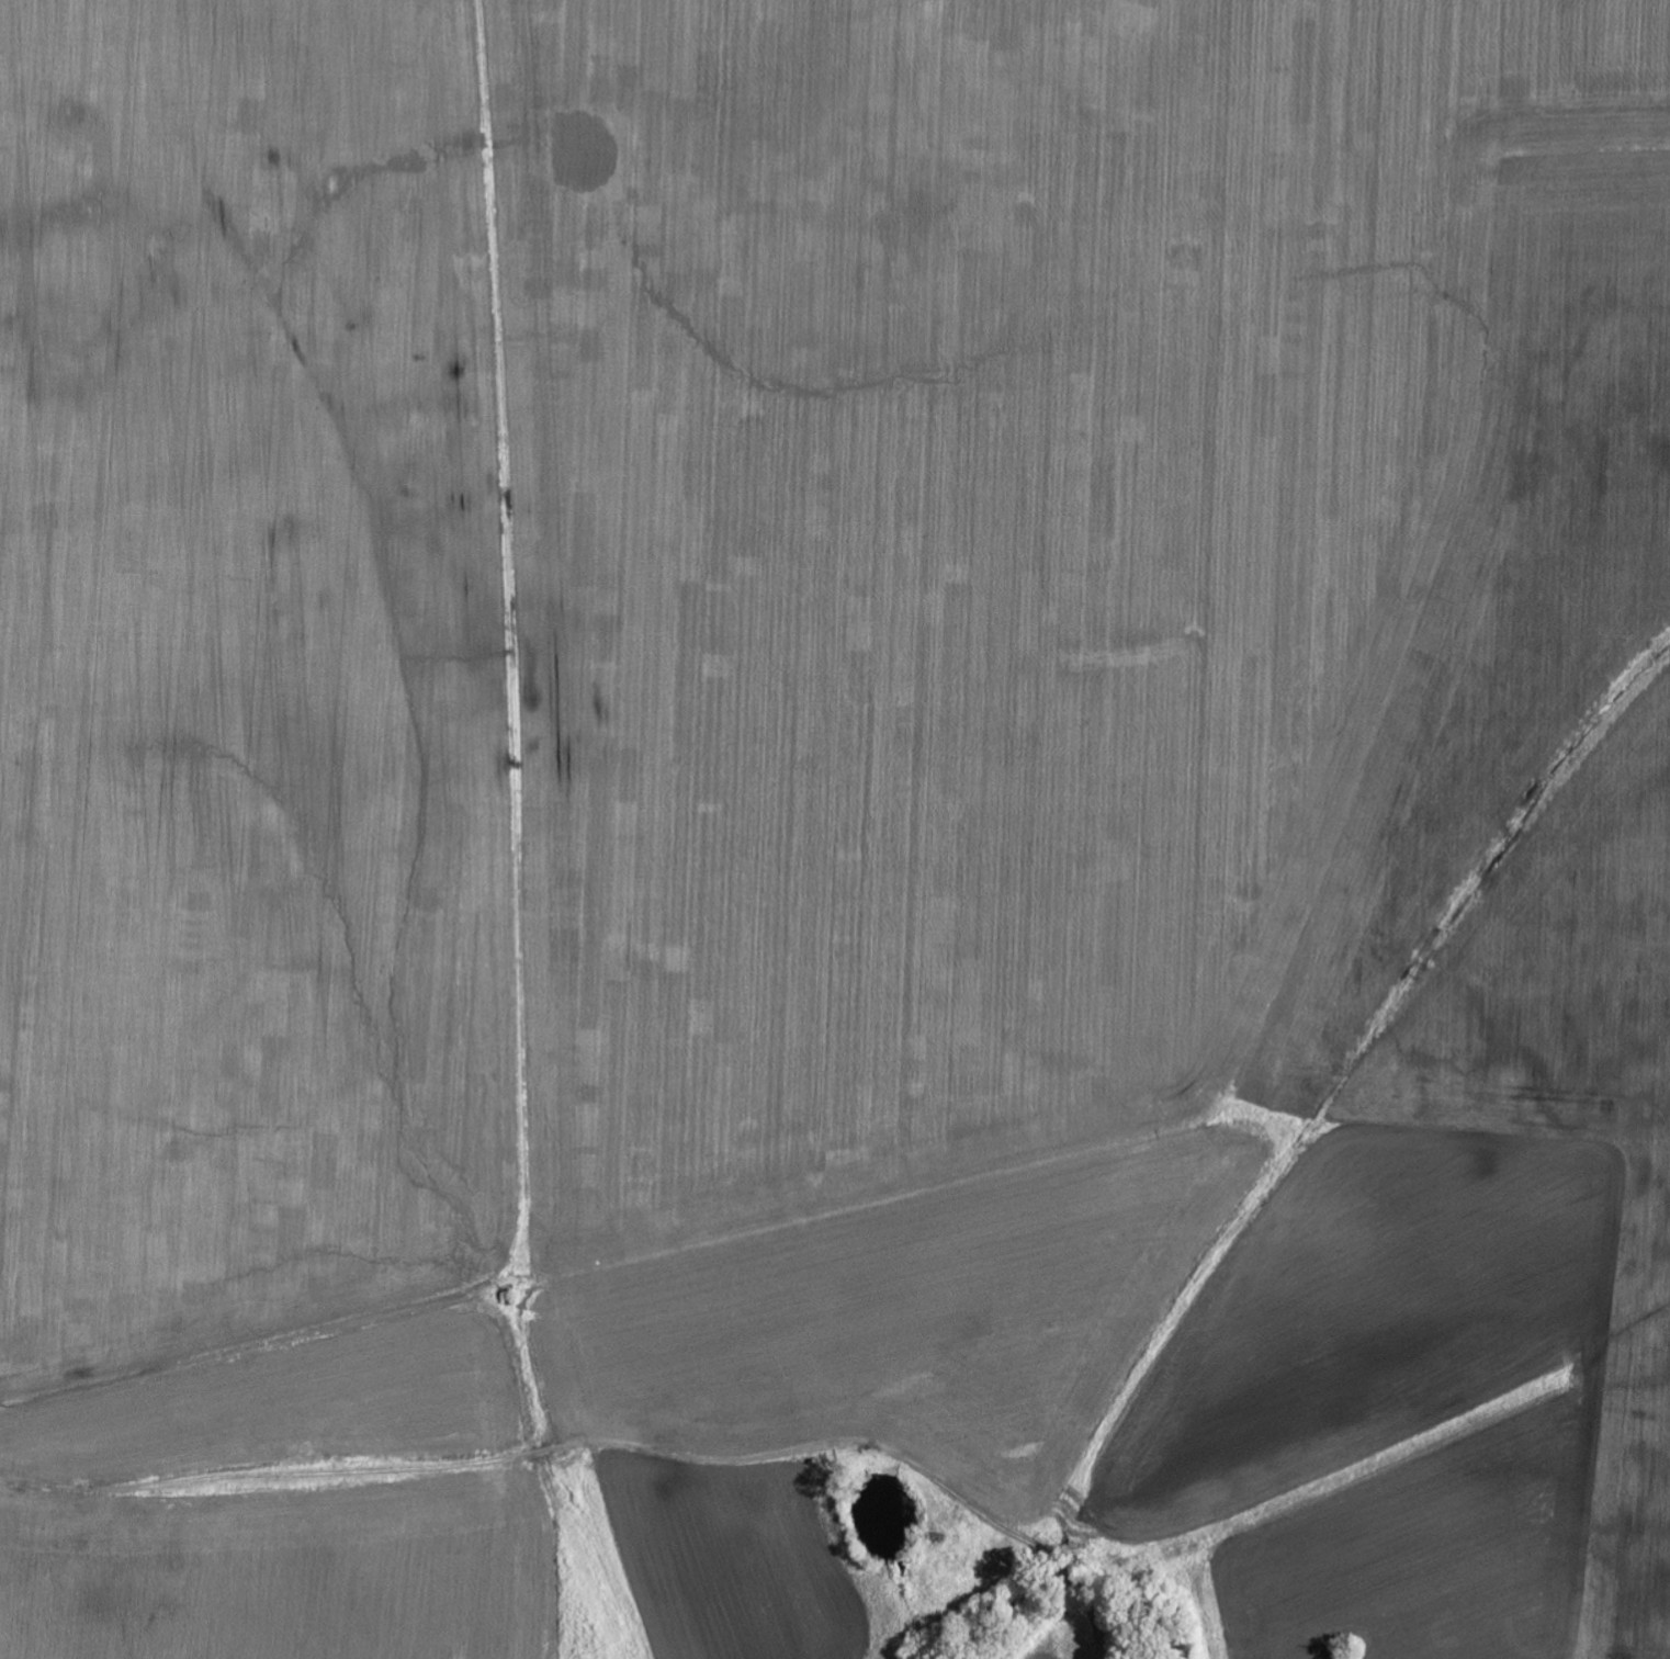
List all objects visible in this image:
road: (46, 1483)

